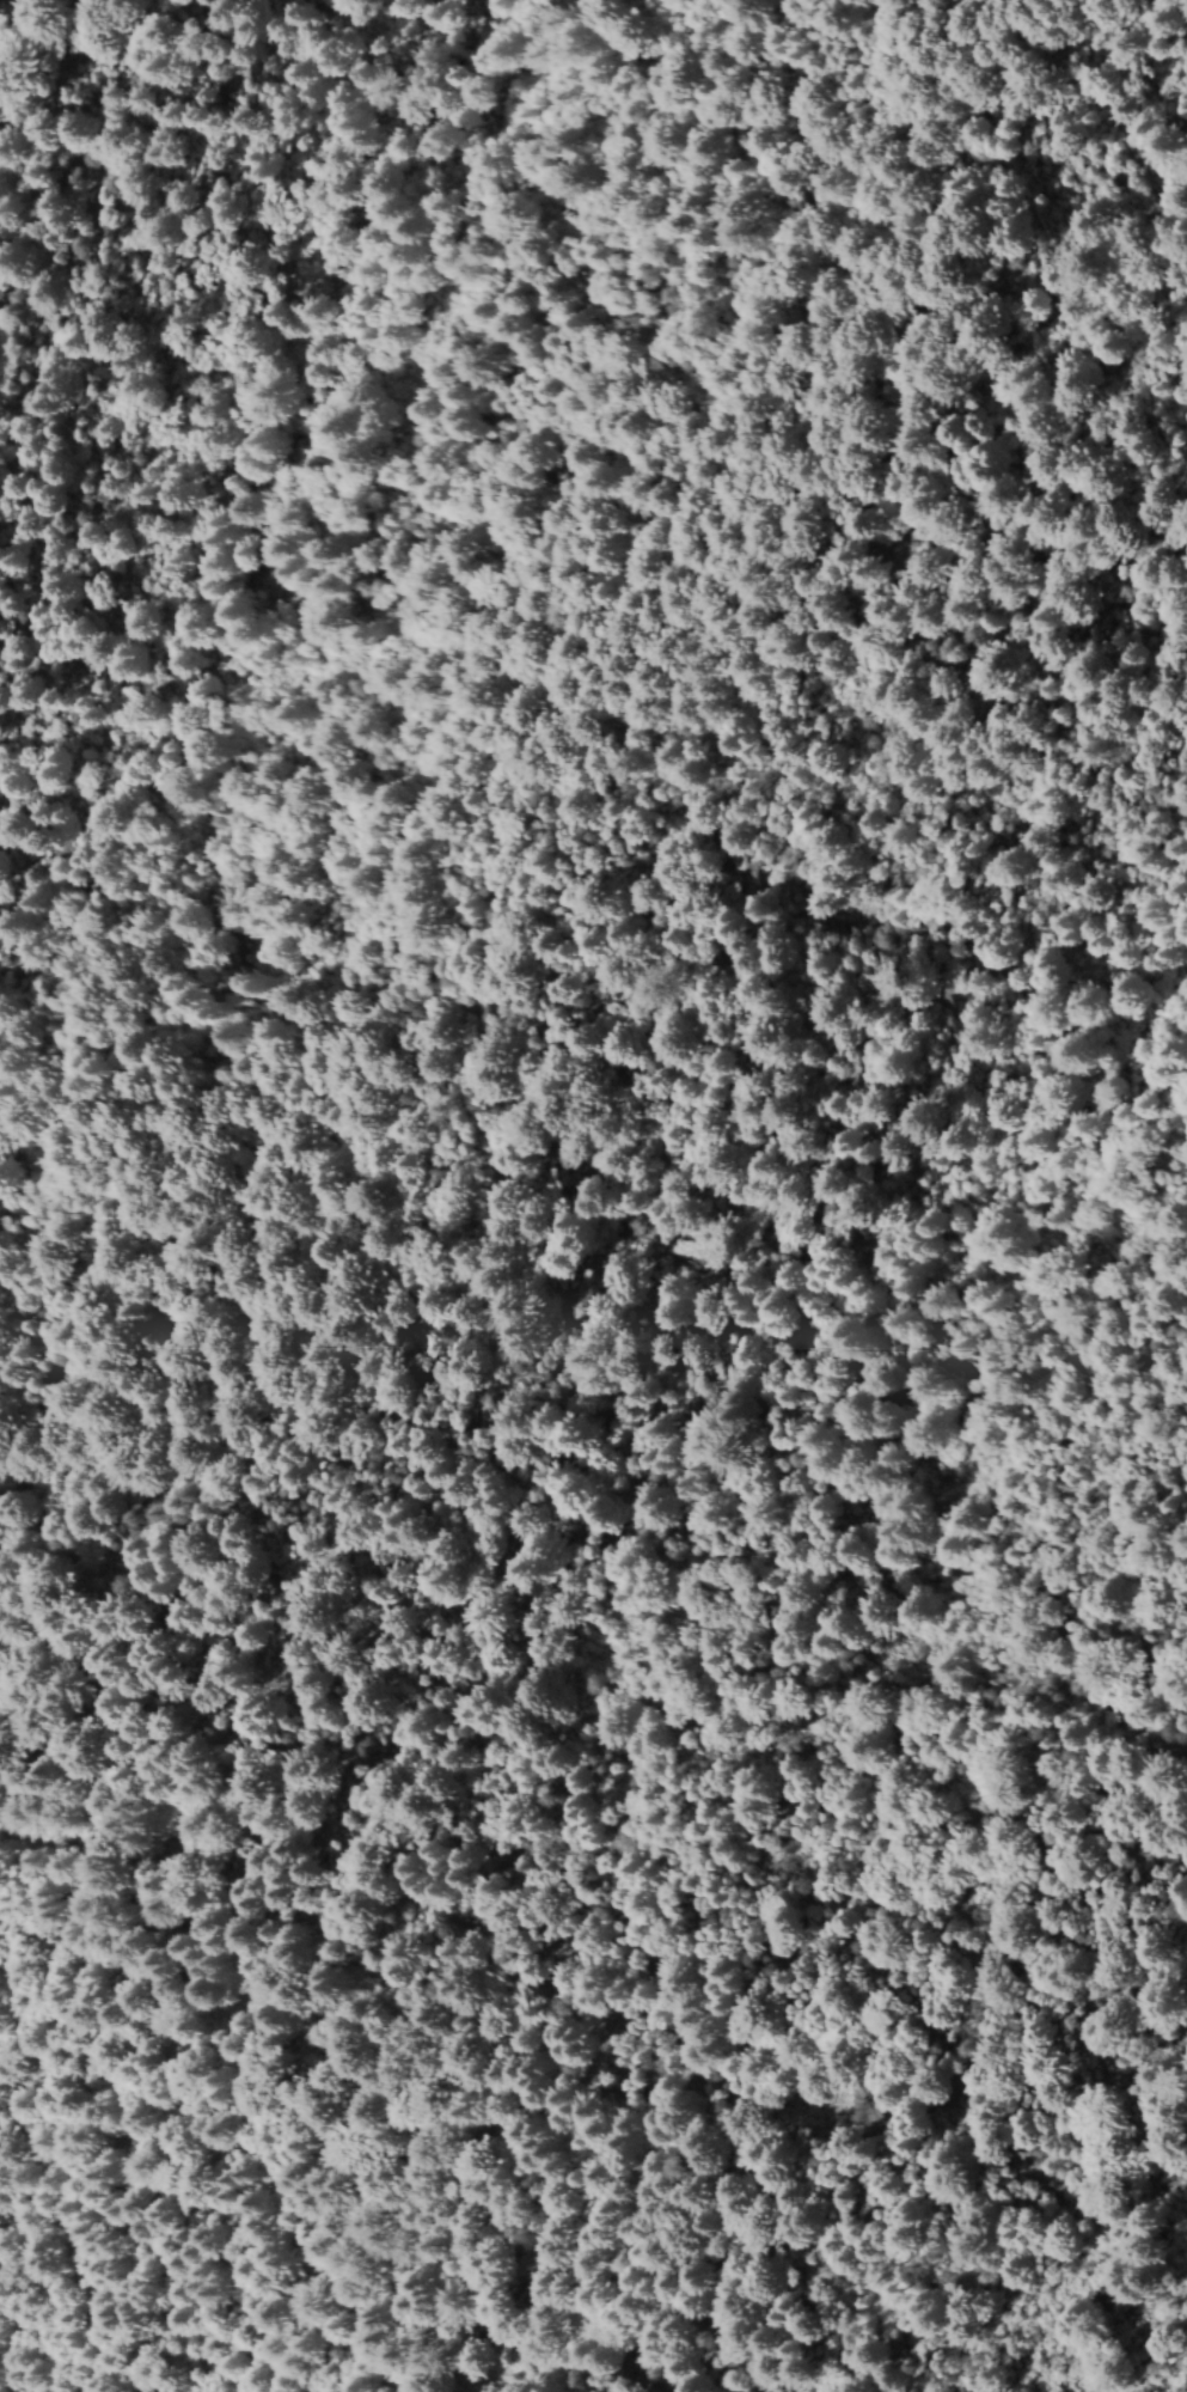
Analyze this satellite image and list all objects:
road: (228, 2056)

